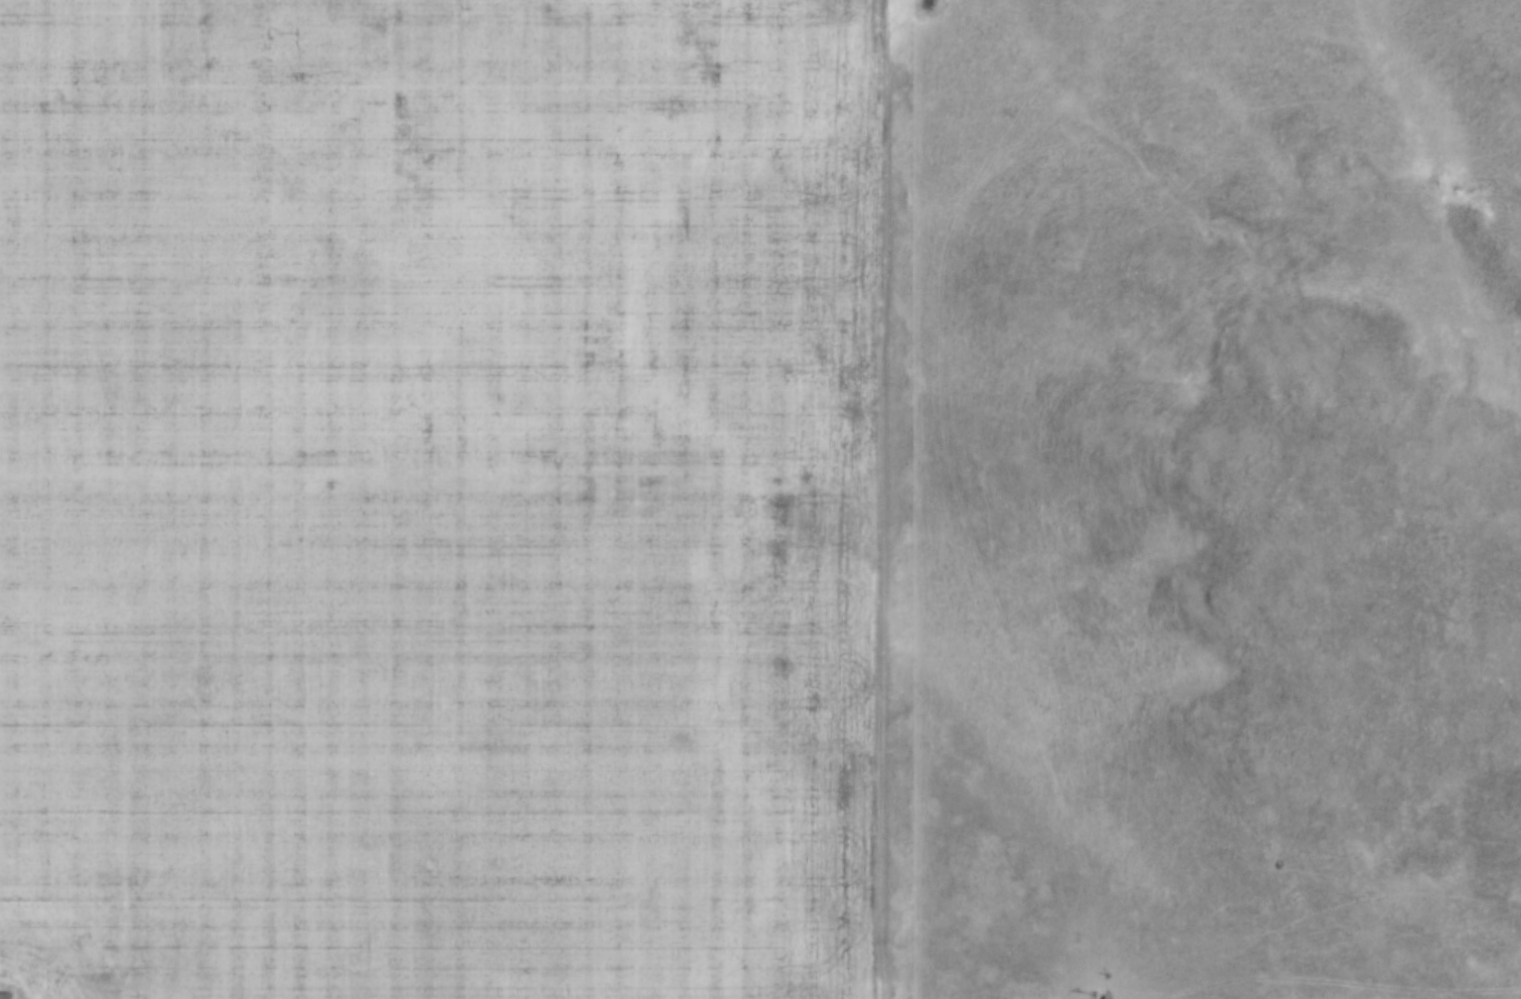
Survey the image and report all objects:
road: (880, 499)
building: (10, 996)

